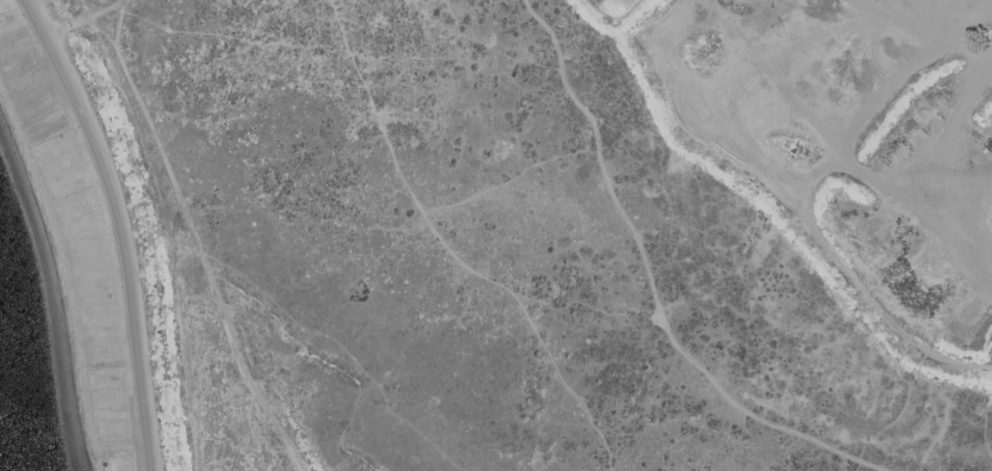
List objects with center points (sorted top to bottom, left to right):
road: (99, 5)
road: (74, 22)
road: (117, 22)
road: (118, 226)
park: (522, 230)
road: (193, 236)
road: (450, 253)
road: (650, 292)
road: (343, 348)
road: (327, 361)

